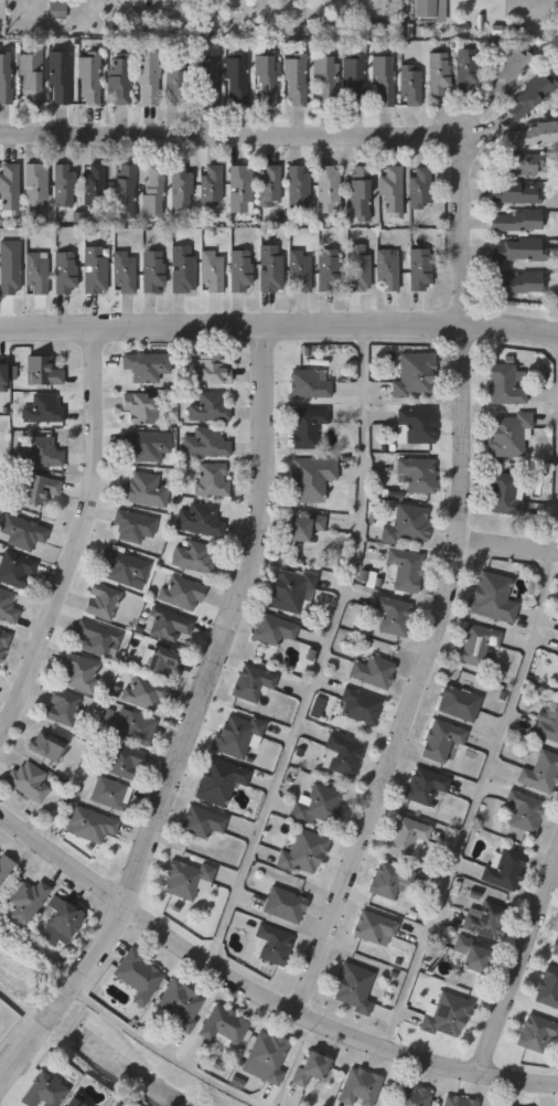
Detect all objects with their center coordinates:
building: (421, 8)
building: (53, 10)
building: (462, 70)
building: (505, 72)
building: (434, 73)
building: (33, 75)
building: (142, 76)
building: (262, 76)
building: (61, 77)
building: (86, 77)
building: (202, 78)
building: (232, 78)
building: (291, 78)
building: (378, 78)
building: (7, 81)
building: (114, 81)
building: (350, 81)
building: (321, 82)
building: (168, 84)
building: (406, 84)
building: (528, 95)
road: (321, 135)
building: (527, 136)
building: (516, 163)
building: (58, 185)
building: (89, 185)
building: (206, 185)
building: (30, 187)
building: (175, 187)
building: (265, 187)
building: (292, 187)
building: (416, 188)
building: (6, 189)
building: (236, 189)
building: (119, 190)
building: (323, 190)
building: (149, 191)
building: (387, 191)
building: (511, 192)
building: (354, 194)
building: (513, 221)
building: (515, 249)
building: (266, 268)
building: (353, 268)
building: (415, 268)
building: (7, 269)
building: (176, 269)
building: (383, 269)
building: (88, 270)
building: (206, 270)
building: (294, 270)
building: (323, 270)
building: (119, 272)
building: (147, 272)
building: (235, 272)
building: (31, 273)
building: (60, 273)
building: (514, 284)
road: (279, 325)
building: (141, 365)
building: (41, 370)
building: (207, 370)
building: (409, 374)
building: (4, 375)
building: (303, 384)
building: (502, 385)
building: (137, 407)
building: (41, 408)
building: (205, 408)
building: (412, 424)
building: (303, 426)
building: (506, 435)
road: (557, 436)
building: (202, 444)
road: (557, 444)
building: (141, 446)
building: (39, 451)
building: (412, 475)
building: (307, 479)
building: (207, 480)
building: (41, 488)
building: (139, 490)
building: (502, 496)
building: (197, 519)
building: (133, 525)
building: (404, 525)
road: (78, 528)
building: (299, 528)
building: (23, 531)
road: (507, 540)
building: (195, 556)
building: (126, 567)
building: (17, 568)
building: (403, 568)
building: (288, 591)
building: (183, 592)
building: (490, 596)
building: (104, 600)
building: (8, 606)
building: (389, 614)
building: (167, 624)
building: (269, 628)
building: (97, 637)
building: (4, 644)
building: (473, 644)
road: (324, 650)
building: (165, 660)
building: (369, 670)
building: (82, 672)
road: (420, 674)
building: (248, 682)
building: (146, 692)
building: (455, 702)
building: (356, 705)
building: (64, 706)
road: (187, 720)
building: (546, 724)
building: (136, 727)
building: (234, 736)
building: (438, 740)
building: (49, 746)
building: (340, 754)
building: (124, 759)
building: (538, 772)
building: (215, 779)
building: (30, 781)
building: (421, 785)
building: (111, 793)
road: (471, 797)
building: (314, 804)
building: (519, 810)
building: (197, 821)
building: (93, 825)
building: (403, 837)
building: (300, 851)
building: (6, 868)
building: (501, 868)
building: (182, 878)
building: (386, 880)
building: (30, 901)
building: (280, 904)
building: (483, 919)
building: (65, 925)
building: (371, 926)
building: (554, 943)
building: (270, 944)
building: (466, 954)
road: (516, 960)
building: (133, 975)
road: (259, 988)
building: (351, 988)
building: (547, 988)
building: (176, 1003)
building: (442, 1014)
building: (219, 1025)
building: (534, 1032)
road: (159, 1051)
building: (262, 1057)
building: (304, 1068)
building: (356, 1087)
building: (39, 1092)
building: (408, 1095)
building: (68, 1099)
building: (455, 1102)
building: (497, 1105)
building: (505, 1105)

